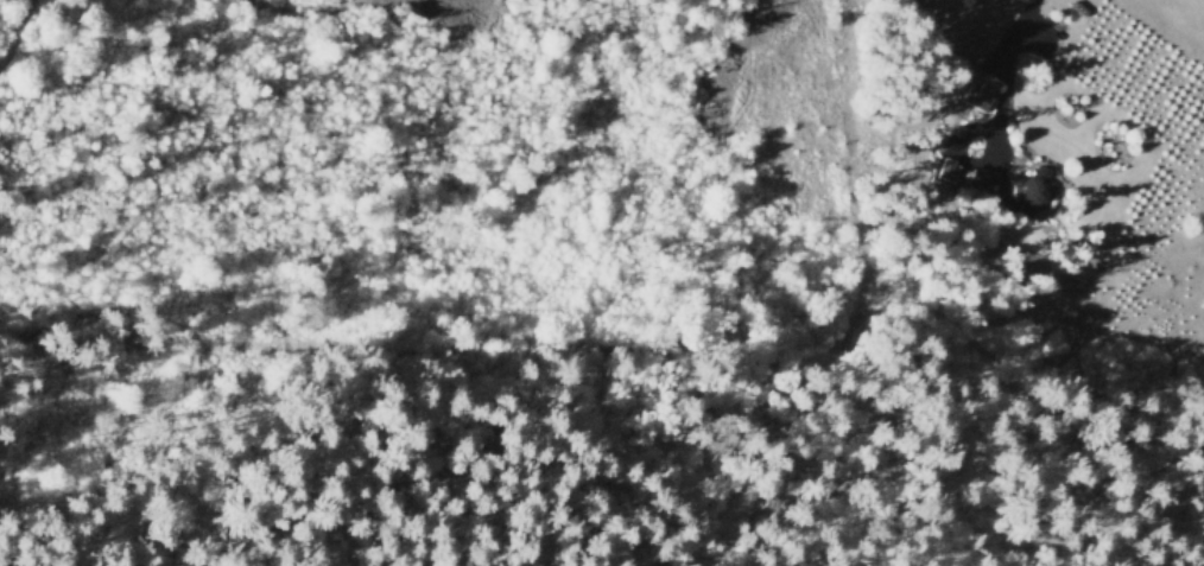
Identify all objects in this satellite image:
building: (980, 88)
building: (948, 167)
building: (1034, 191)

